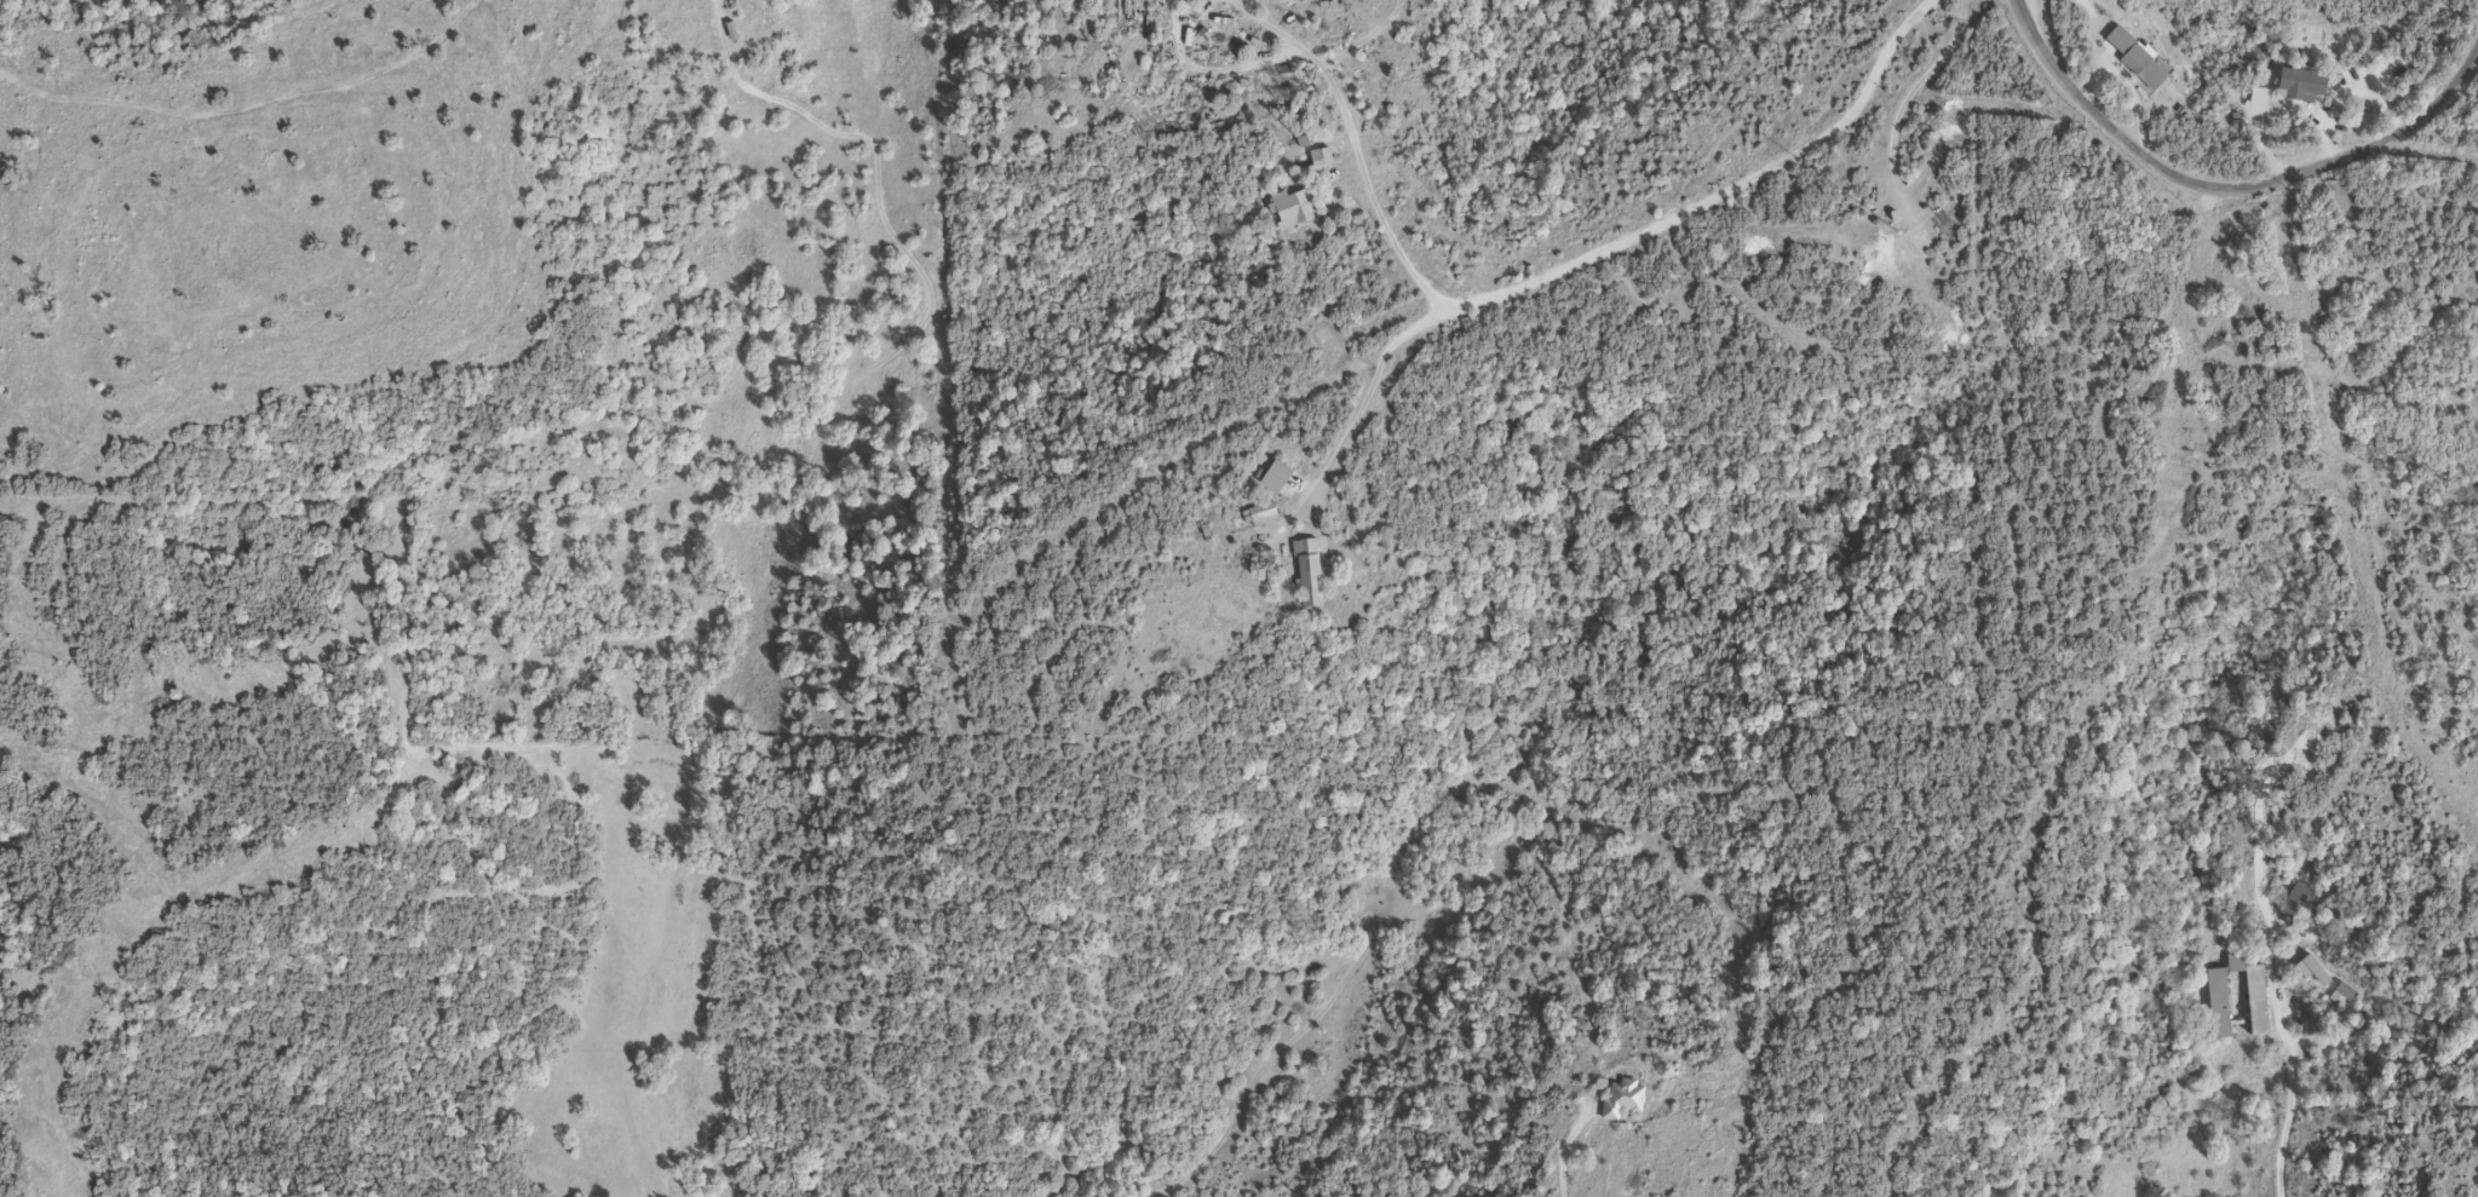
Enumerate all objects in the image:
building: (1111, 0)
building: (731, 34)
building: (2134, 58)
building: (2302, 87)
road: (752, 88)
road: (235, 99)
building: (1316, 168)
road: (2230, 189)
building: (1292, 208)
road: (1546, 280)
road: (1356, 416)
building: (1276, 479)
building: (1260, 518)
road: (1010, 548)
building: (1309, 575)
building: (2294, 902)
building: (2345, 994)
building: (2219, 1005)
building: (1622, 1100)
road: (2296, 1106)
road: (1564, 1172)

